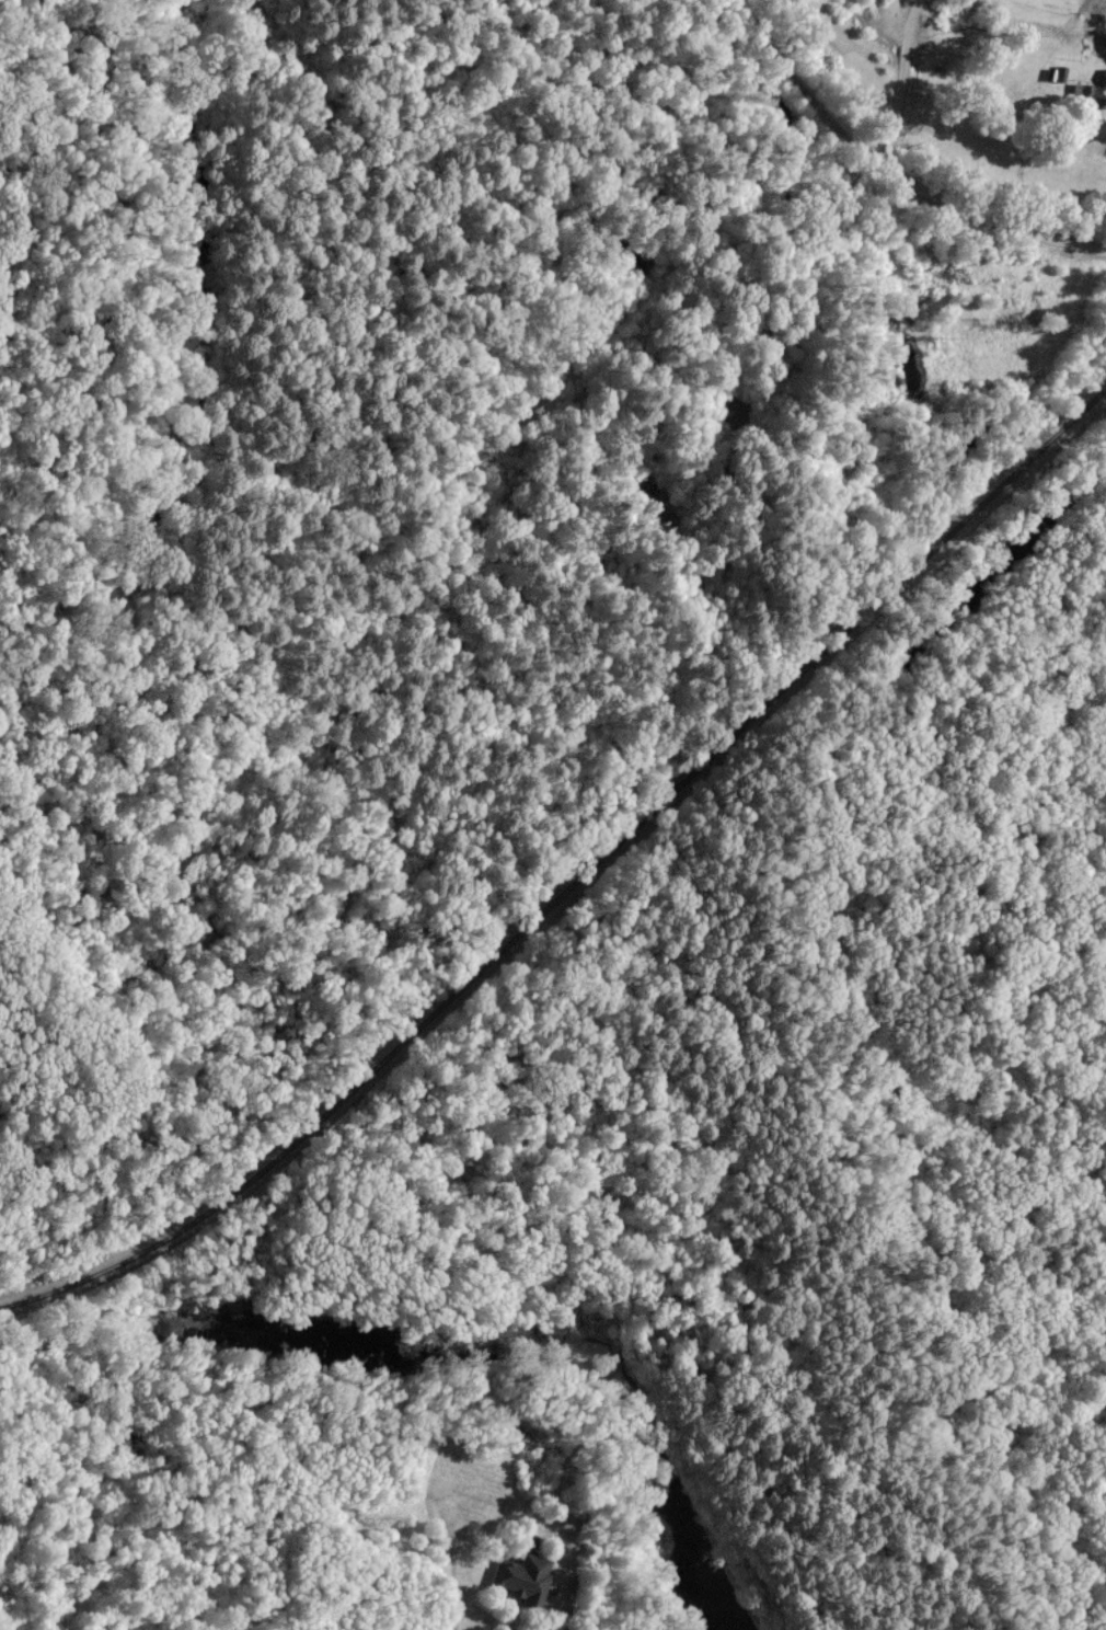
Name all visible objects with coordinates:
road: (902, 82)
road: (891, 171)
railway: (575, 884)
building: (526, 1579)
road: (572, 1607)

